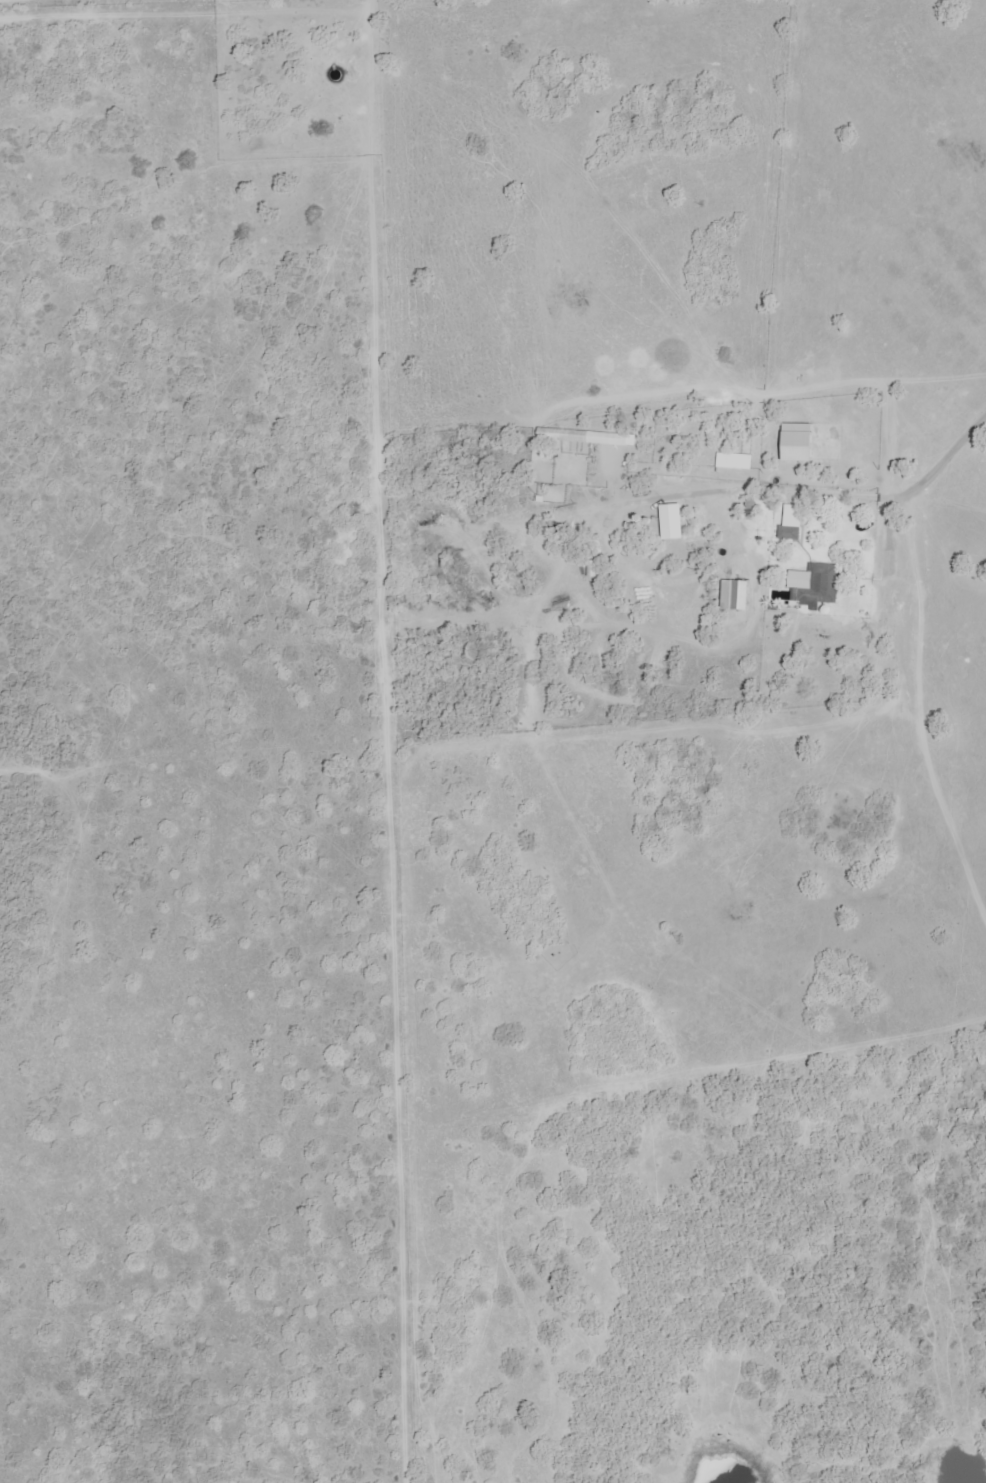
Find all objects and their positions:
building: (583, 436)
building: (827, 440)
road: (858, 466)
building: (790, 531)
building: (821, 584)
building: (736, 596)

